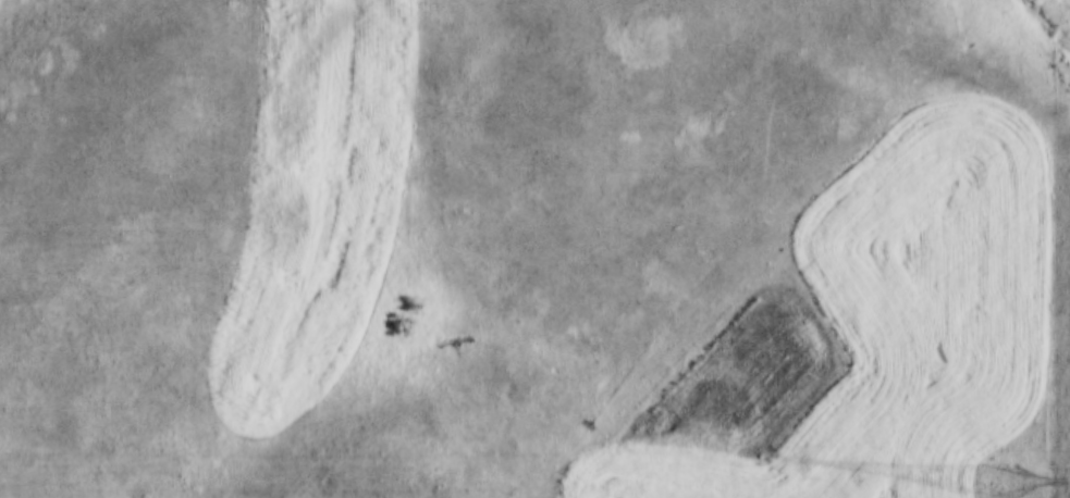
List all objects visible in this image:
power tower: (988, 484)

